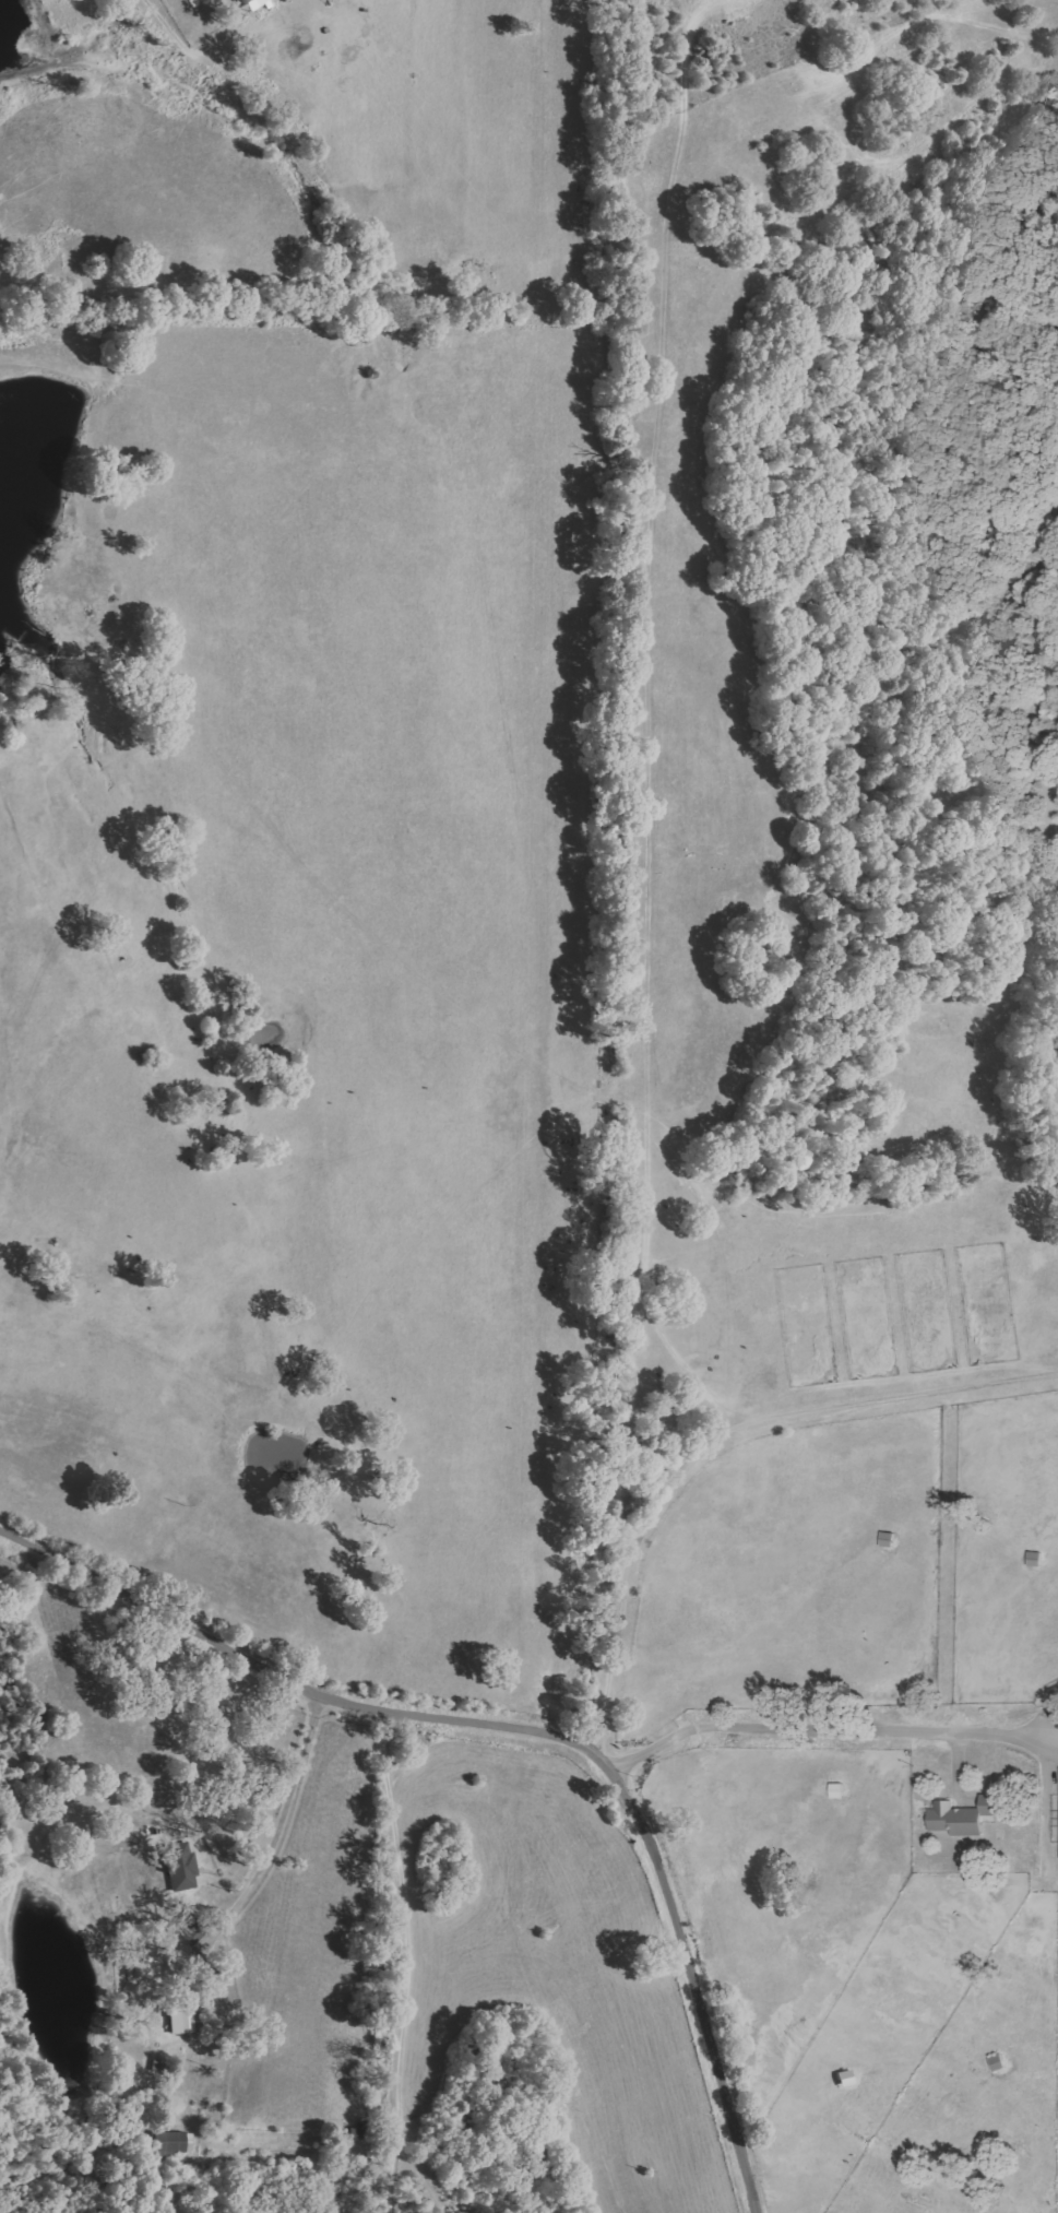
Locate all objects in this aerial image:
building: (252, 3)
road: (717, 1440)
road: (523, 1729)
road: (783, 1729)
building: (837, 1791)
building: (962, 1818)
building: (180, 1866)
building: (181, 2023)
building: (173, 2143)

